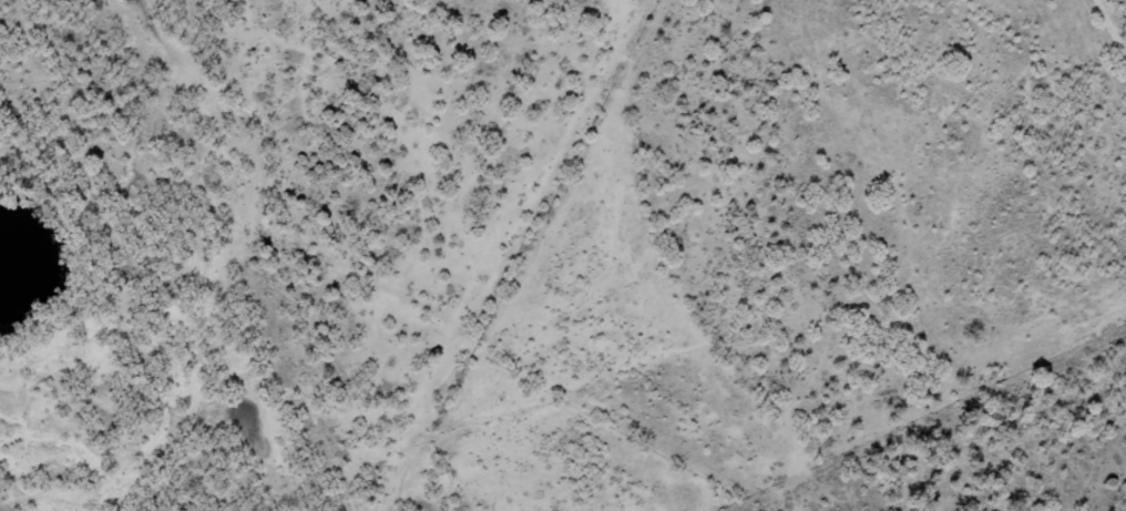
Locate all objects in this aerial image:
road: (157, 275)

